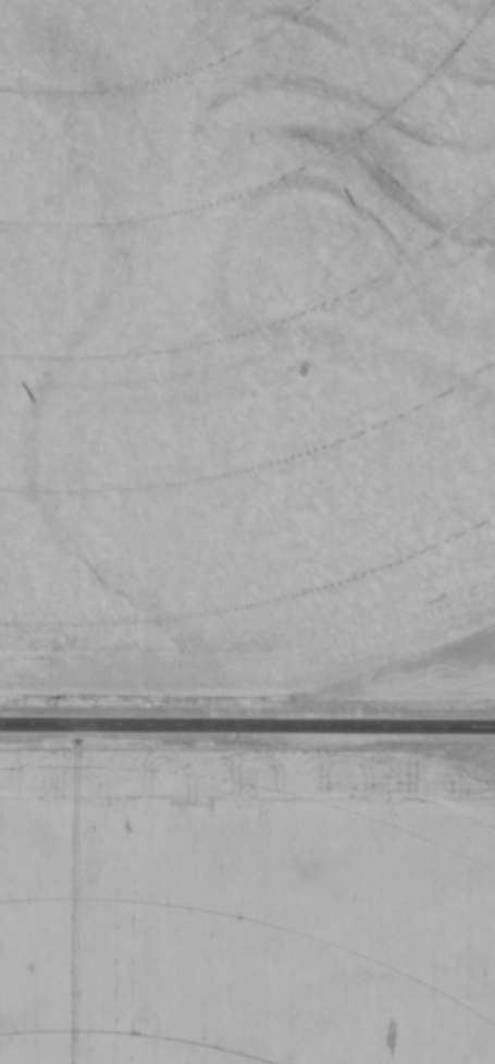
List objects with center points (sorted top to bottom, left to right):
road: (247, 726)

